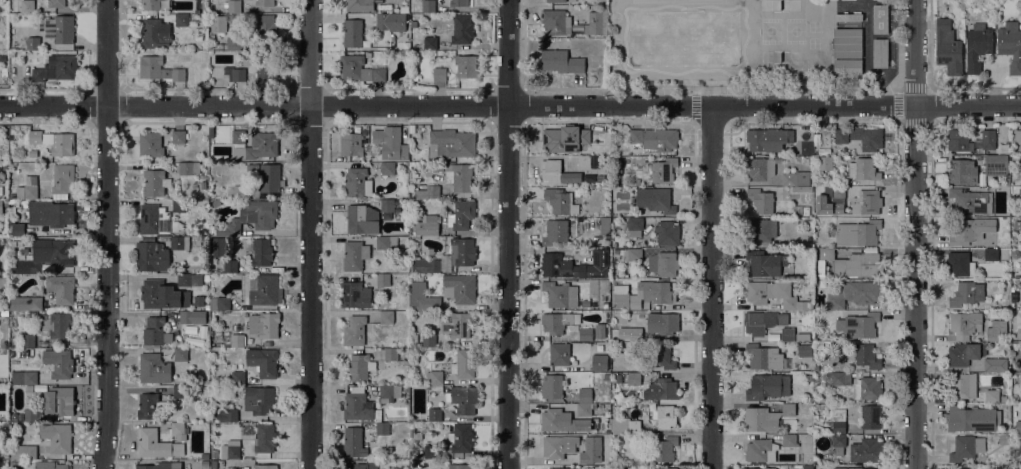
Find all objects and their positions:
building: (556, 1)
building: (56, 3)
building: (264, 3)
building: (458, 3)
building: (151, 4)
building: (360, 5)
building: (26, 6)
building: (233, 6)
building: (428, 6)
building: (848, 16)
building: (3, 19)
building: (880, 19)
building: (181, 20)
building: (553, 21)
building: (597, 21)
building: (390, 22)
building: (218, 24)
building: (414, 24)
building: (58, 29)
building: (462, 29)
building: (264, 31)
building: (352, 33)
building: (155, 34)
building: (33, 43)
building: (233, 43)
building: (430, 43)
building: (847, 43)
building: (1010, 45)
building: (977, 46)
building: (948, 47)
building: (880, 53)
building: (560, 61)
building: (264, 66)
building: (466, 66)
building: (847, 66)
building: (56, 68)
building: (158, 69)
building: (360, 69)
building: (235, 73)
building: (439, 74)
road: (510, 107)
building: (412, 128)
building: (235, 135)
building: (178, 136)
building: (635, 136)
building: (1018, 136)
building: (12, 137)
building: (565, 138)
building: (867, 138)
building: (768, 139)
building: (840, 139)
building: (988, 139)
building: (659, 141)
building: (959, 141)
building: (54, 142)
building: (391, 143)
building: (453, 143)
building: (150, 144)
building: (351, 144)
building: (258, 147)
building: (584, 161)
building: (825, 163)
building: (997, 163)
building: (5, 167)
building: (0, 168)
building: (188, 168)
building: (761, 168)
building: (387, 169)
building: (662, 169)
building: (863, 169)
building: (962, 171)
building: (557, 172)
building: (267, 176)
building: (458, 176)
building: (796, 178)
building: (63, 181)
building: (155, 183)
building: (357, 183)
building: (26, 189)
building: (801, 189)
building: (239, 192)
building: (430, 192)
building: (838, 193)
building: (1020, 193)
building: (656, 200)
building: (761, 200)
building: (560, 201)
building: (971, 201)
building: (866, 202)
building: (216, 204)
building: (389, 206)
building: (1, 207)
building: (177, 207)
building: (801, 210)
building: (47, 214)
building: (461, 215)
building: (251, 218)
building: (362, 219)
building: (156, 220)
building: (808, 223)
building: (1019, 223)
building: (428, 225)
building: (603, 225)
building: (635, 227)
building: (17, 229)
building: (762, 230)
building: (555, 232)
building: (967, 232)
building: (857, 233)
road: (107, 234)
road: (309, 234)
road: (510, 234)
building: (667, 234)
road: (914, 234)
building: (180, 243)
building: (386, 243)
building: (218, 247)
building: (462, 251)
building: (616, 251)
building: (262, 252)
building: (53, 253)
building: (631, 254)
building: (991, 254)
building: (355, 255)
building: (151, 257)
building: (557, 262)
building: (765, 263)
building: (848, 263)
building: (663, 264)
building: (960, 264)
building: (27, 266)
building: (230, 266)
building: (425, 266)
building: (206, 278)
building: (1020, 278)
building: (196, 279)
building: (383, 279)
building: (183, 280)
road: (711, 287)
building: (61, 288)
building: (460, 288)
building: (266, 289)
building: (416, 289)
building: (656, 292)
building: (560, 294)
building: (769, 294)
building: (855, 294)
building: (967, 294)
building: (162, 295)
building: (355, 295)
building: (621, 297)
building: (999, 300)
building: (199, 301)
building: (26, 303)
building: (220, 303)
building: (426, 303)
building: (802, 305)
building: (4, 313)
building: (186, 317)
building: (387, 318)
building: (764, 321)
building: (558, 322)
building: (663, 323)
building: (206, 324)
building: (965, 324)
building: (264, 325)
building: (457, 325)
building: (858, 325)
building: (56, 326)
building: (996, 330)
building: (155, 331)
building: (354, 331)
building: (600, 332)
building: (586, 334)
building: (635, 334)
building: (788, 334)
building: (803, 336)
building: (29, 340)
building: (237, 340)
building: (429, 340)
building: (804, 350)
building: (963, 353)
building: (181, 354)
building: (391, 354)
building: (559, 354)
building: (662, 356)
building: (867, 356)
building: (764, 357)
building: (263, 362)
building: (59, 363)
building: (600, 363)
building: (464, 364)
building: (994, 365)
building: (361, 367)
building: (614, 368)
building: (154, 369)
building: (607, 376)
building: (30, 377)
building: (238, 377)
building: (15, 378)
building: (619, 378)
building: (836, 378)
building: (436, 379)
building: (634, 379)
building: (552, 386)
building: (768, 386)
building: (962, 386)
building: (867, 388)
building: (436, 389)
building: (662, 389)
building: (180, 391)
building: (389, 393)
building: (992, 395)
building: (585, 396)
building: (1004, 399)
building: (60, 400)
building: (258, 400)
building: (463, 400)
building: (357, 405)
building: (150, 406)
building: (584, 410)
building: (788, 410)
building: (435, 414)
building: (30, 415)
building: (231, 415)
building: (652, 416)
building: (666, 416)
building: (870, 416)
building: (4, 419)
building: (761, 419)
building: (973, 419)
building: (556, 420)
building: (838, 421)
building: (625, 425)
building: (382, 428)
building: (177, 429)
building: (1020, 429)
building: (415, 435)
building: (57, 437)
building: (461, 438)
building: (264, 440)
building: (789, 440)
building: (354, 442)
building: (152, 443)
building: (839, 443)
building: (606, 446)
building: (553, 447)
building: (966, 448)
building: (662, 449)
building: (760, 450)
building: (867, 450)
building: (230, 451)
building: (430, 451)
building: (23, 452)
building: (616, 452)
building: (214, 453)
building: (586, 458)
building: (214, 464)
building: (49, 465)
building: (362, 465)
building: (156, 466)
building: (265, 466)
building: (460, 466)
building: (619, 467)
building: (560, 468)
building: (666, 468)
building: (759, 468)
building: (860, 468)
building: (954, 468)
building: (972, 468)

